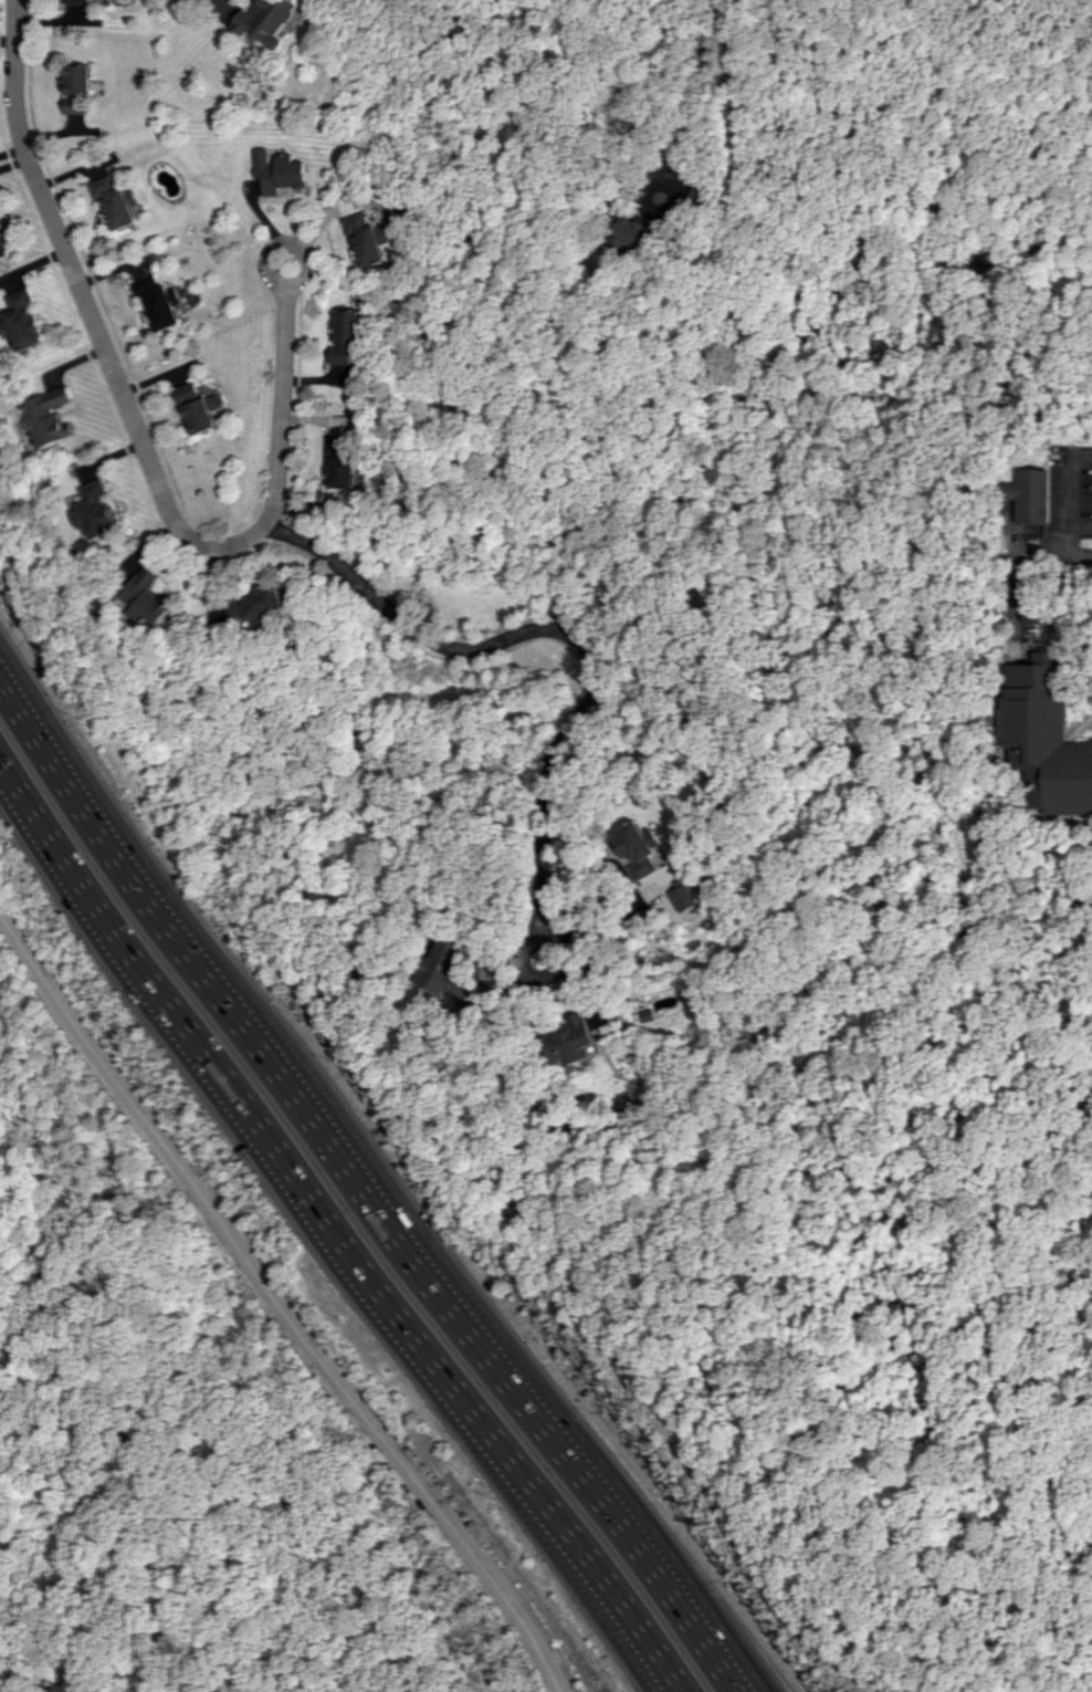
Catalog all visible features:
building: (72, 1)
road: (213, 1)
building: (261, 21)
building: (73, 90)
road: (691, 102)
building: (273, 171)
building: (113, 202)
building: (632, 231)
building: (365, 240)
road: (281, 246)
building: (1, 249)
road: (880, 311)
building: (22, 318)
building: (343, 336)
building: (197, 408)
building: (50, 417)
road: (135, 425)
building: (340, 462)
road: (1074, 480)
building: (1033, 495)
building: (98, 511)
road: (1083, 526)
road: (1073, 541)
road: (1056, 554)
building: (154, 597)
building: (1027, 610)
road: (569, 638)
building: (1042, 735)
building: (639, 848)
road: (1059, 889)
building: (685, 897)
building: (693, 912)
building: (447, 964)
building: (574, 1041)
building: (421, 1057)
building: (440, 1061)
road: (271, 1135)
road: (360, 1188)
road: (280, 1294)
road: (3, 1299)
road: (796, 1358)
park: (177, 1434)
road: (167, 1537)
road: (31, 1573)
road: (420, 1579)
road: (605, 1602)

